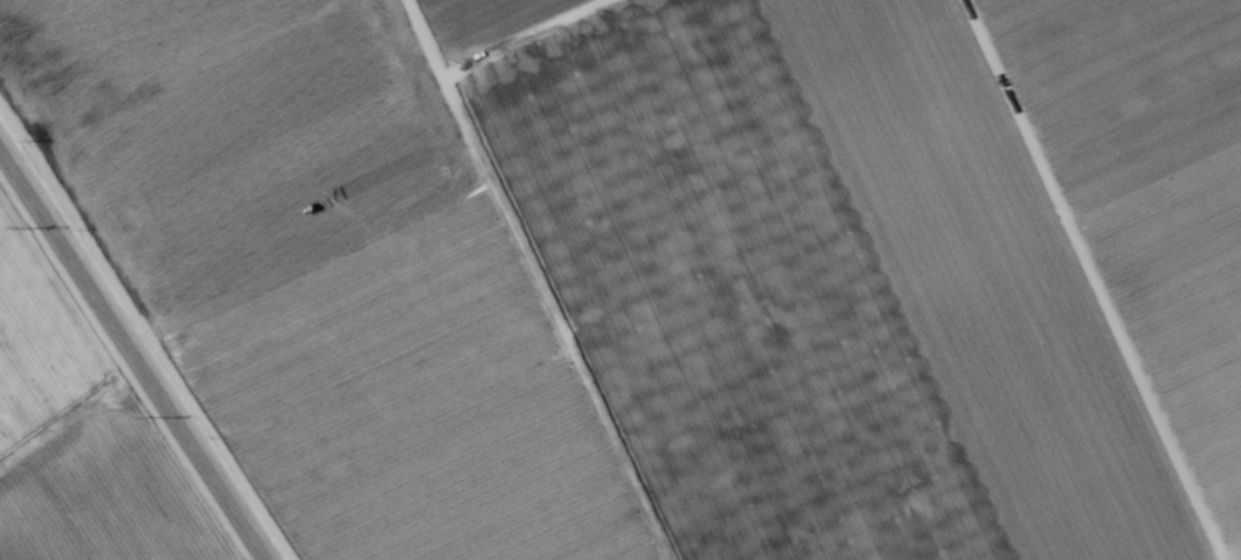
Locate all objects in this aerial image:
crop: (620, 279)
road: (130, 360)

